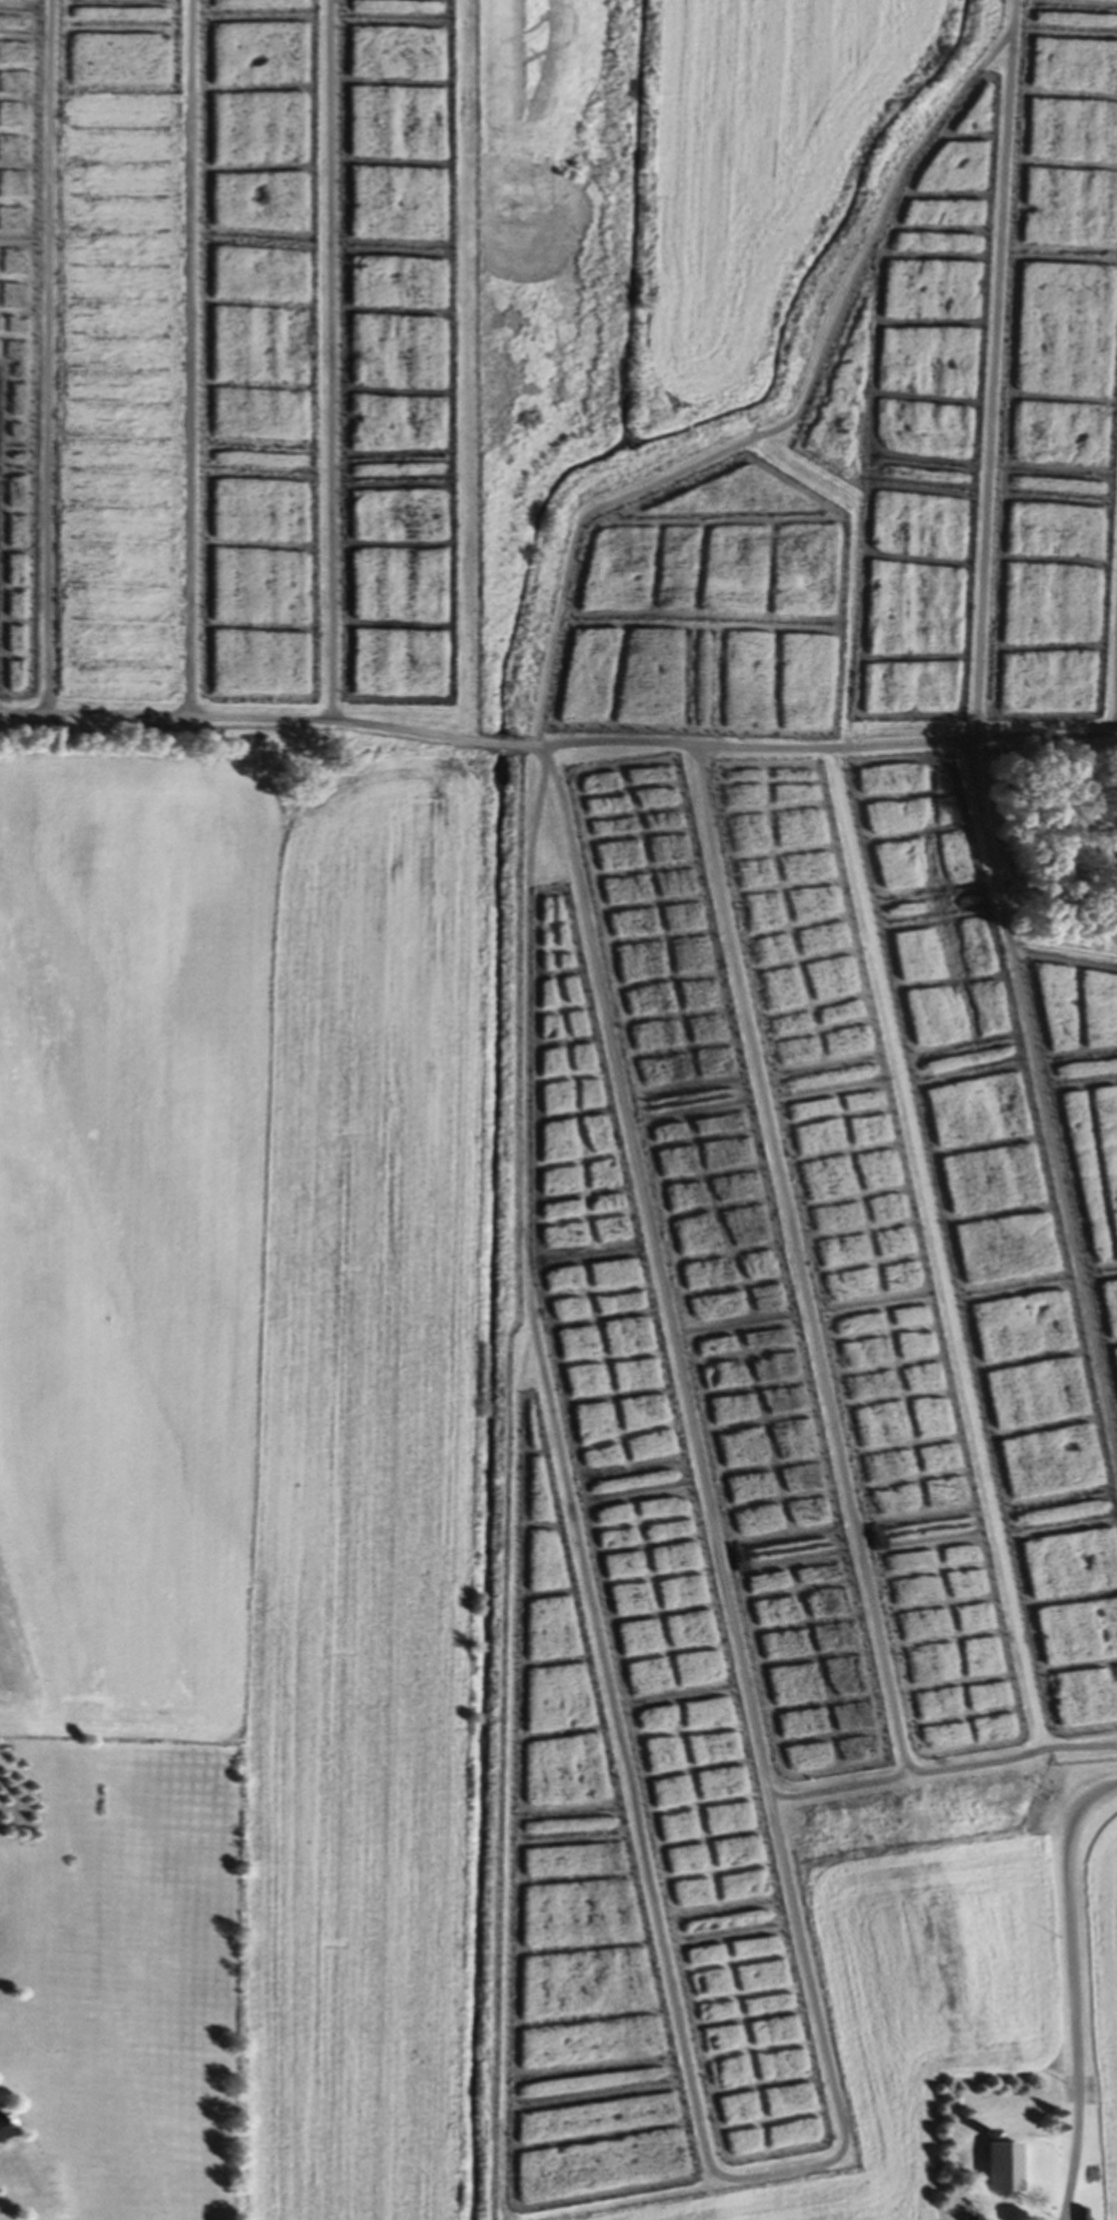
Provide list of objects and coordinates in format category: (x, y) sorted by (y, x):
building: (108, 1804)
road: (1069, 1928)
building: (5, 2129)
building: (1016, 2158)
road: (1073, 2158)
building: (1083, 2216)

